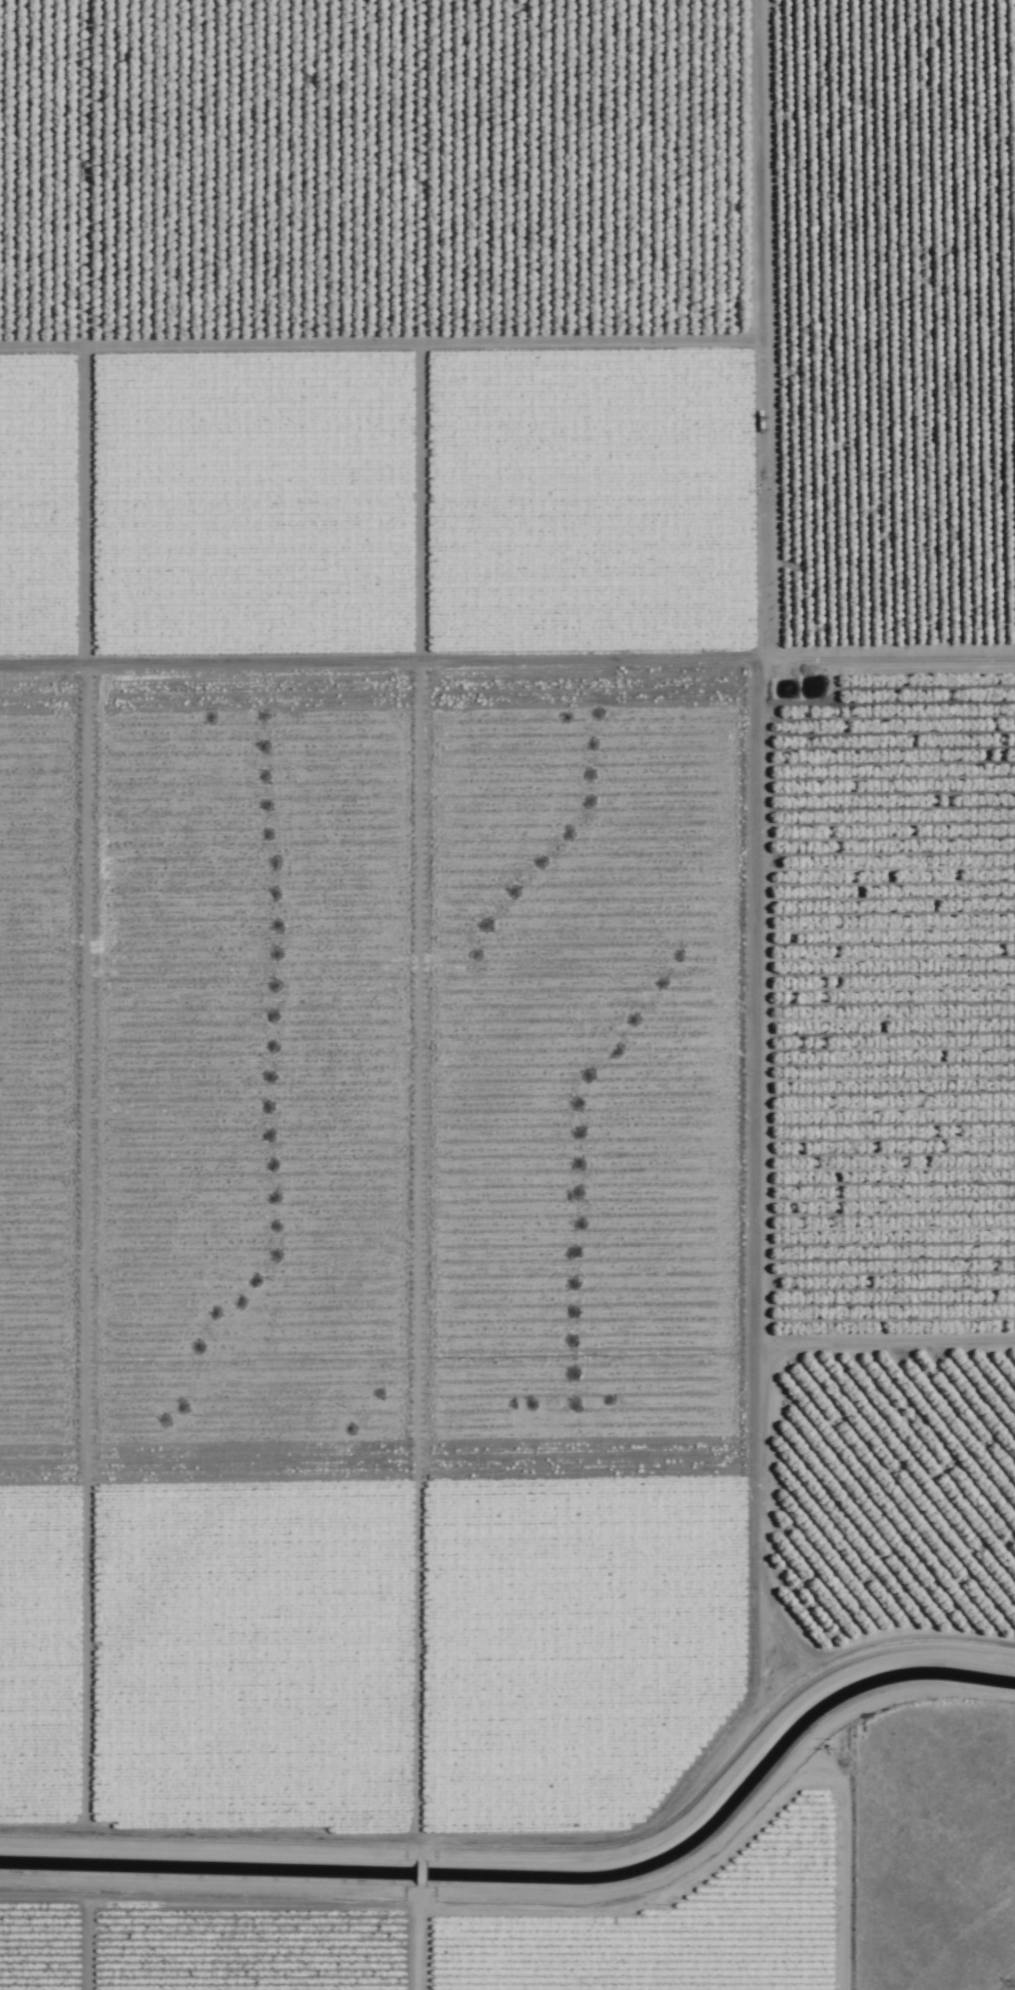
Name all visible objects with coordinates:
road: (507, 632)
wastewater plant: (804, 697)
crop: (492, 965)

